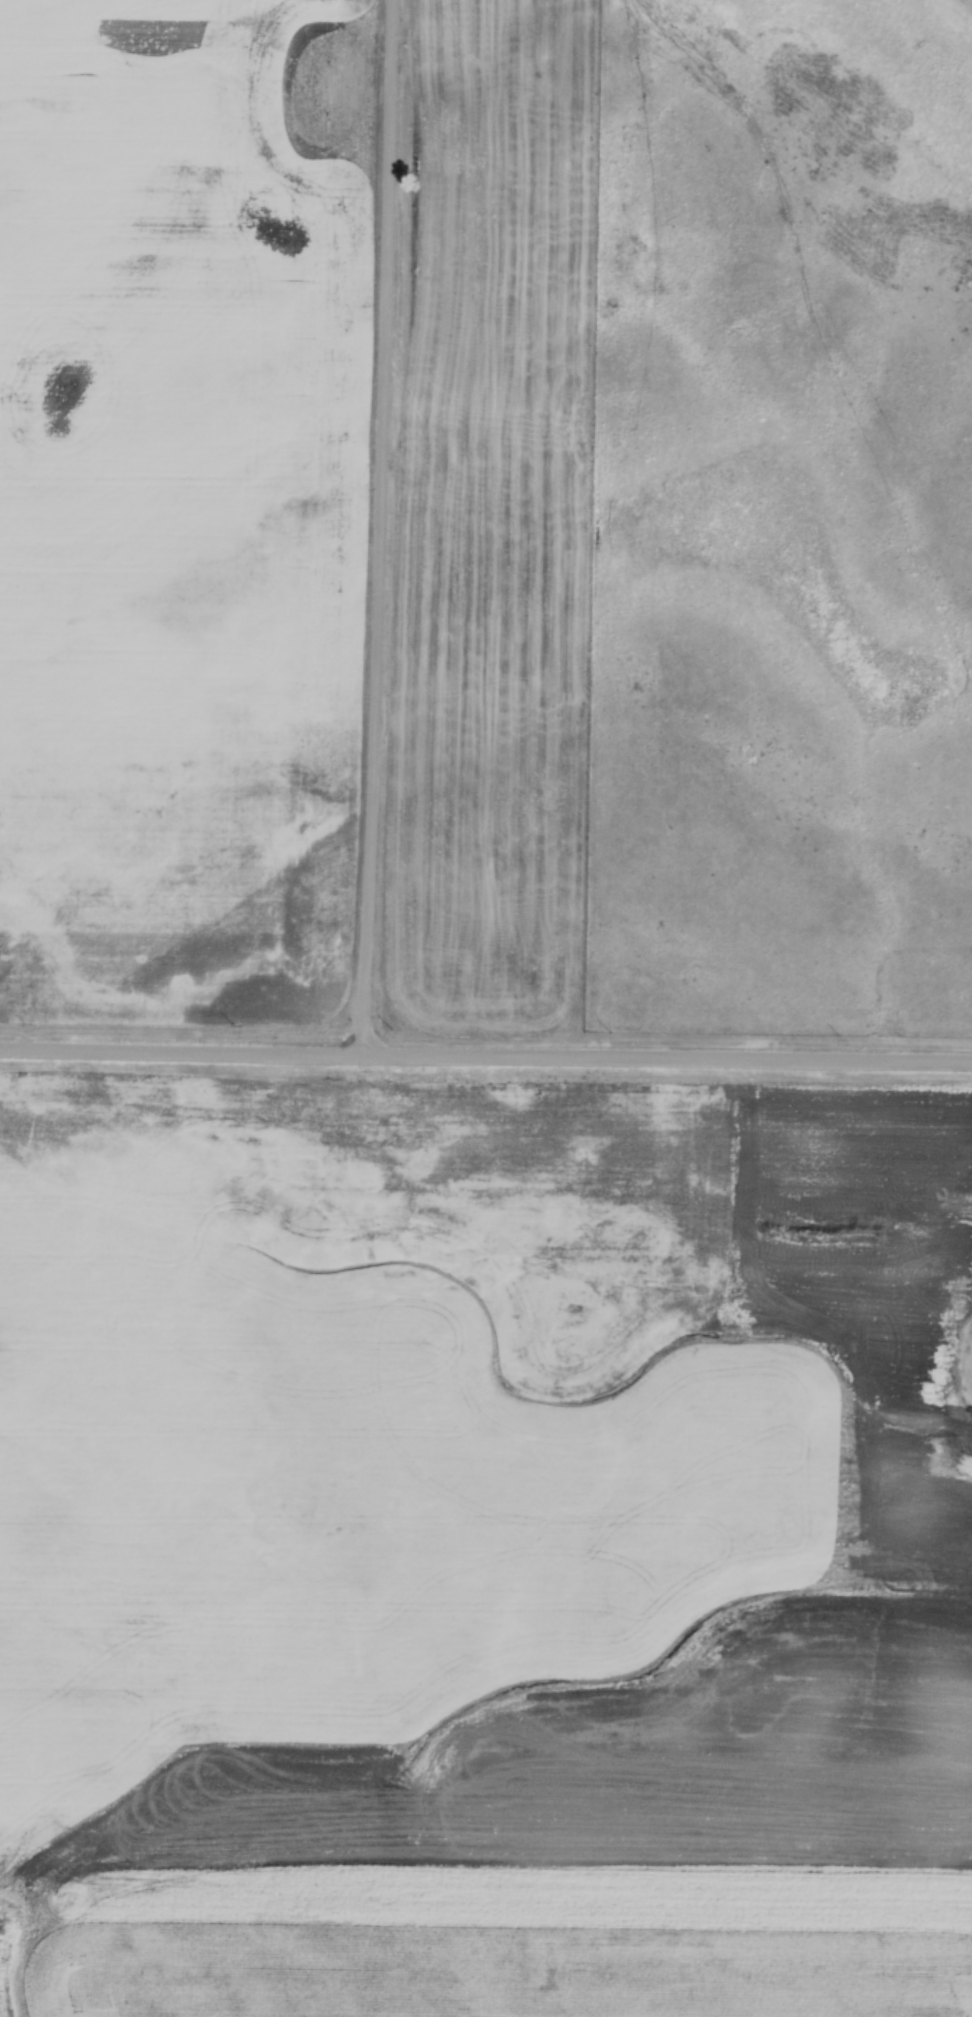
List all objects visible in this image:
road: (381, 527)
road: (485, 1056)

